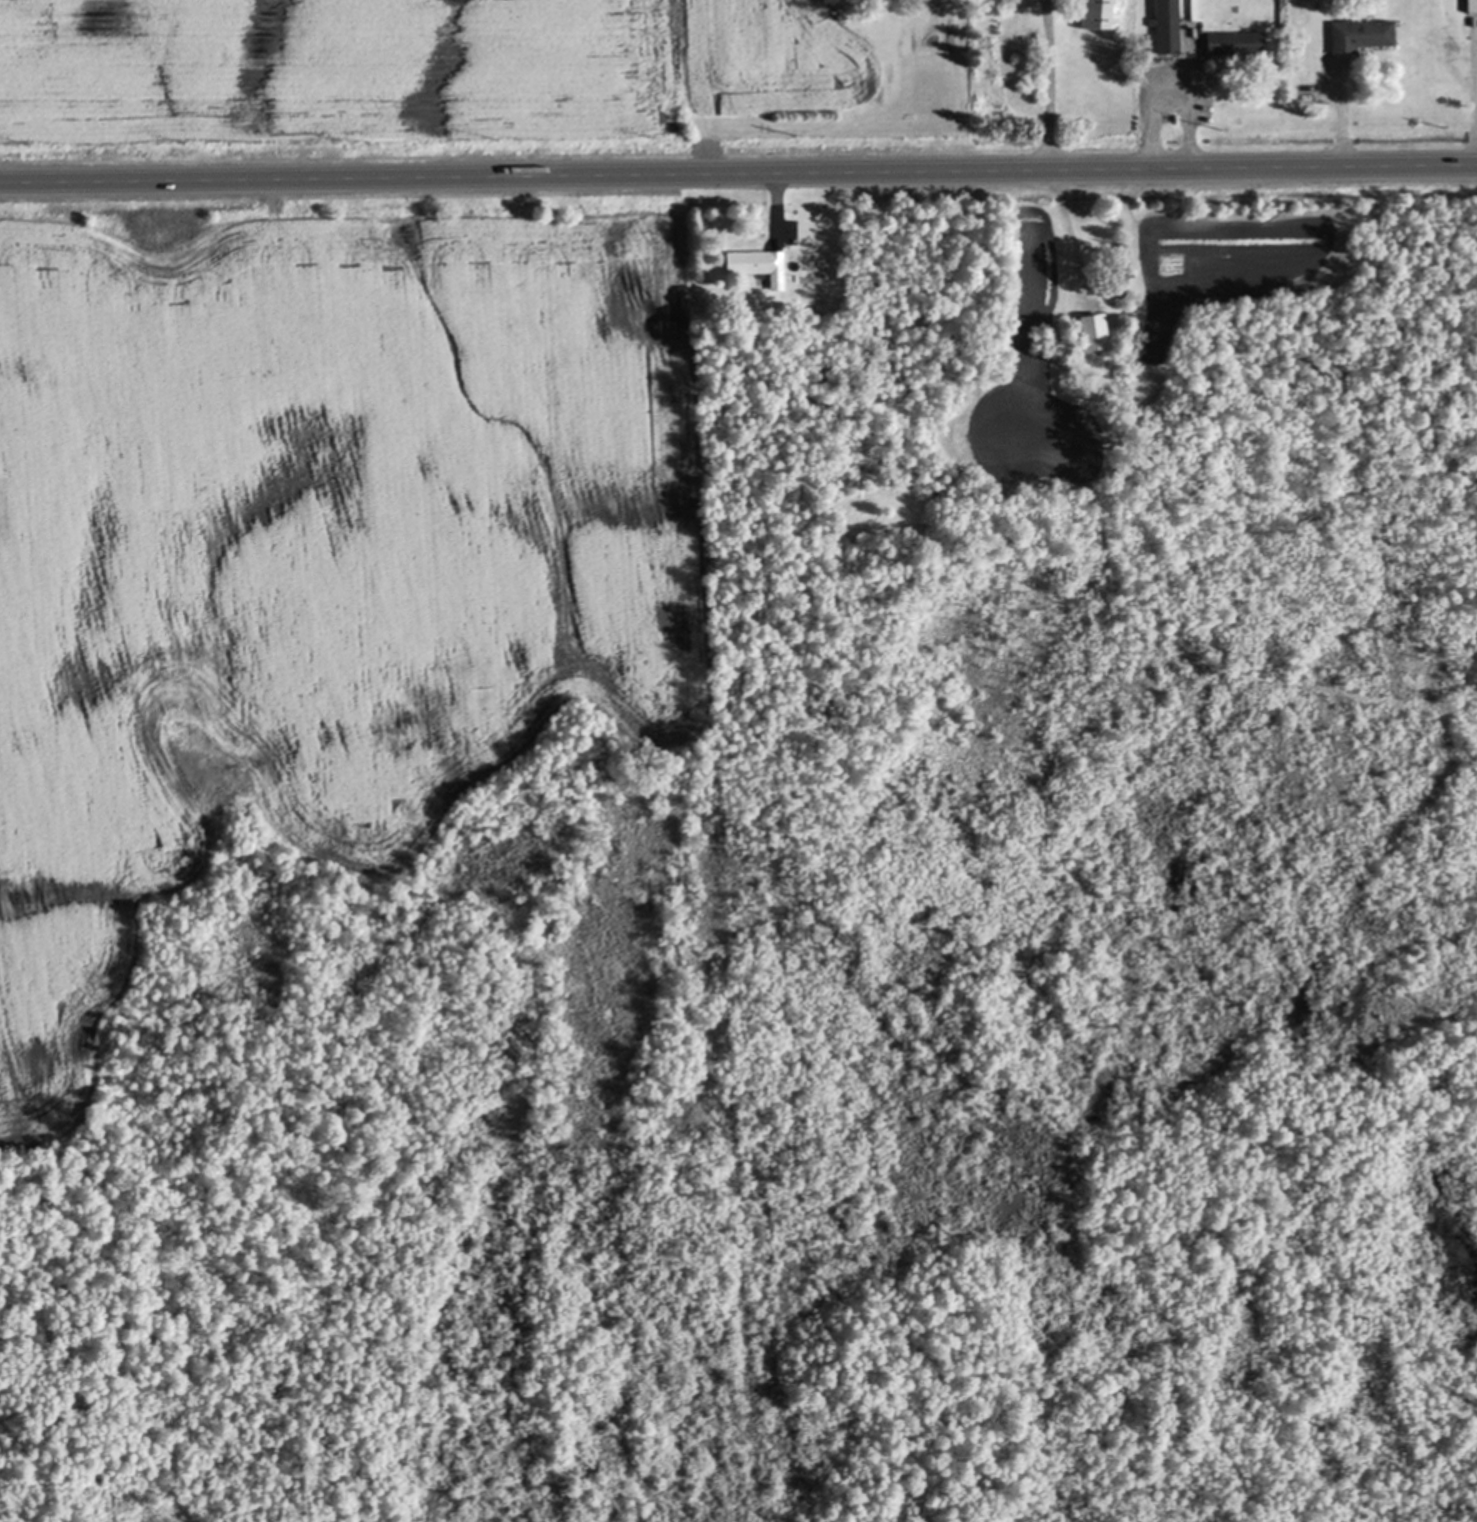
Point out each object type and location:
building: (1471, 4)
building: (1099, 13)
building: (1166, 25)
building: (1360, 31)
building: (1235, 40)
power tower: (1215, 124)
power tower: (1436, 124)
power tower: (1006, 127)
power tower: (789, 130)
power tower: (644, 133)
power tower: (487, 134)
power tower: (328, 135)
power tower: (173, 137)
power tower: (15, 138)
road: (738, 175)
building: (758, 261)
building: (926, 279)
building: (1115, 285)
building: (775, 310)
building: (911, 323)
building: (1093, 330)
building: (38, 1169)

